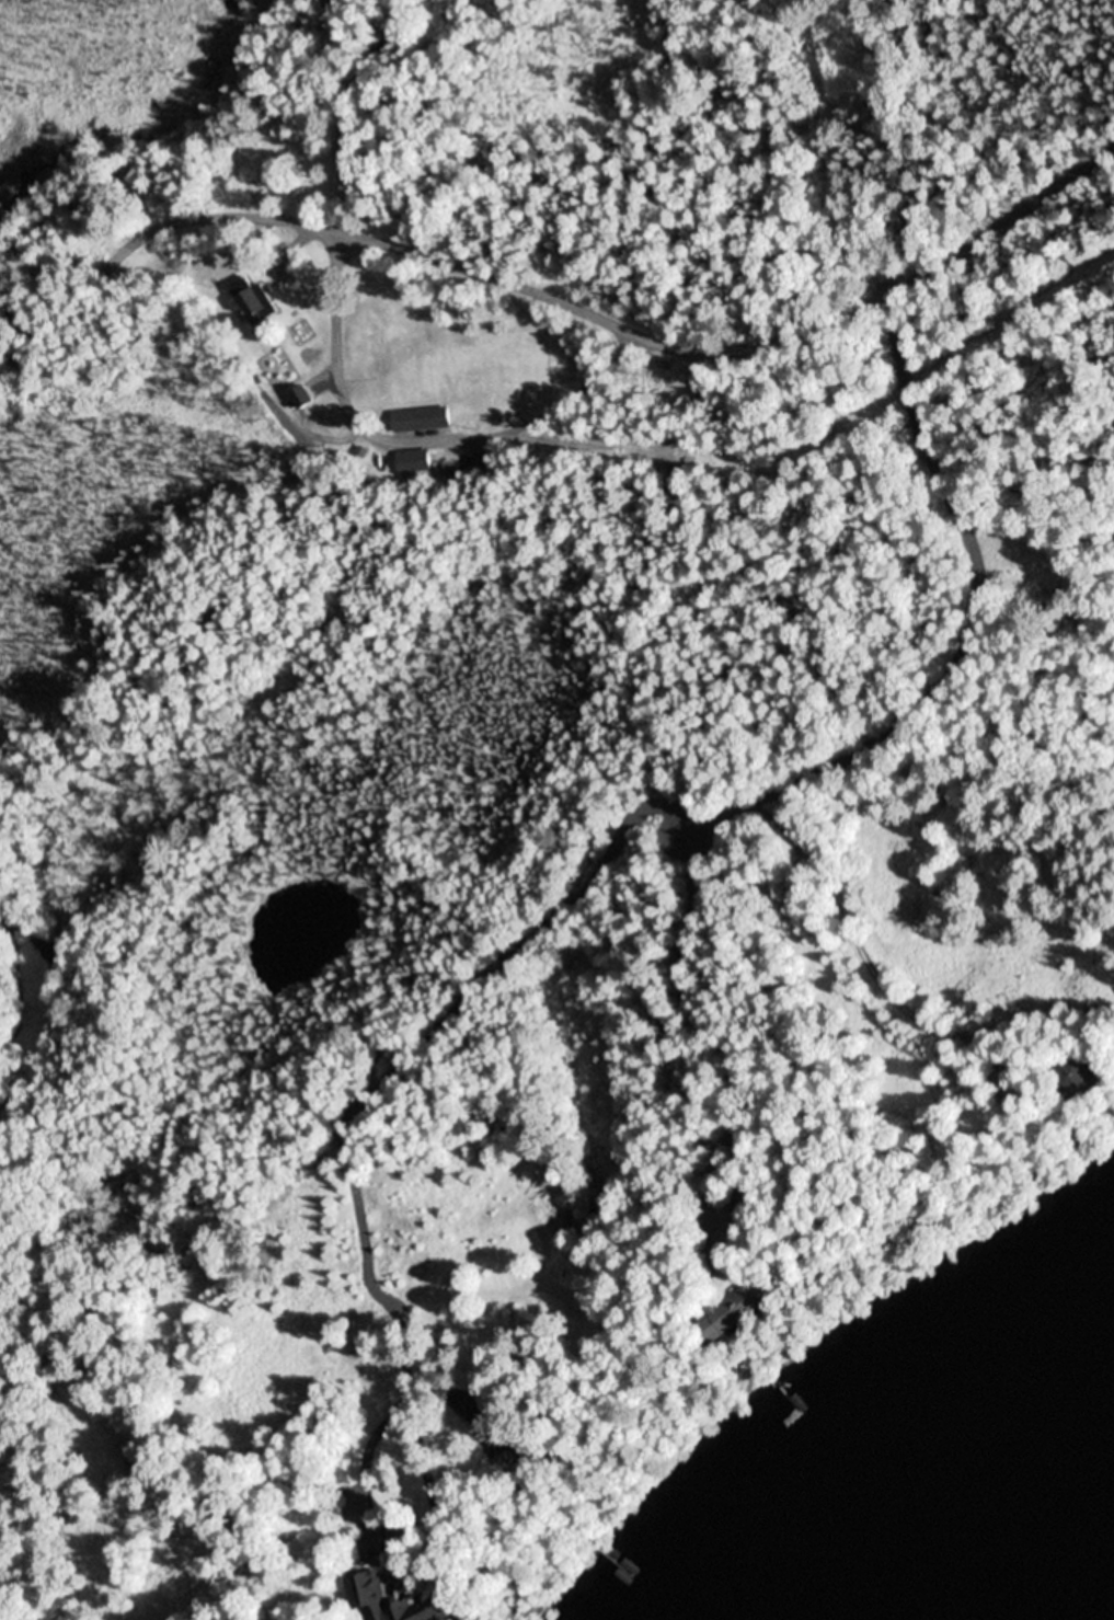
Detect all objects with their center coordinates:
road: (857, 263)
road: (551, 297)
building: (253, 301)
building: (302, 398)
building: (422, 420)
building: (413, 462)
road: (966, 636)
building: (1077, 1076)
building: (990, 1080)
building: (1036, 1105)
building: (755, 1193)
building: (733, 1315)
building: (399, 1538)
building: (400, 1601)

